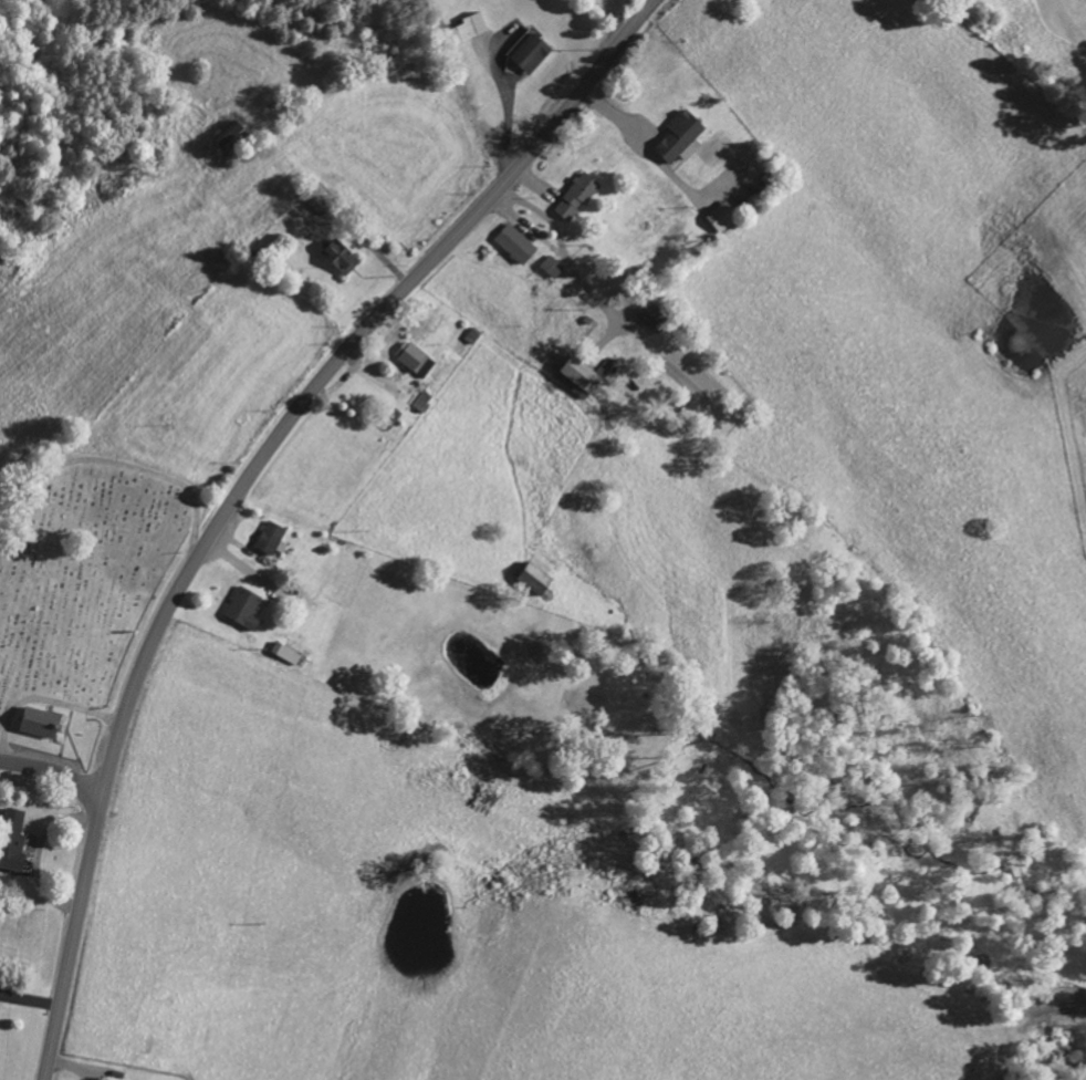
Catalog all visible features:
building: (472, 27)
building: (533, 51)
building: (234, 135)
building: (681, 135)
building: (578, 196)
building: (723, 216)
building: (518, 243)
building: (344, 256)
building: (554, 266)
building: (657, 316)
building: (417, 357)
building: (584, 375)
building: (424, 401)
road: (243, 484)
building: (272, 537)
building: (539, 578)
building: (246, 607)
building: (288, 653)
building: (44, 721)
road: (53, 769)
building: (15, 840)

